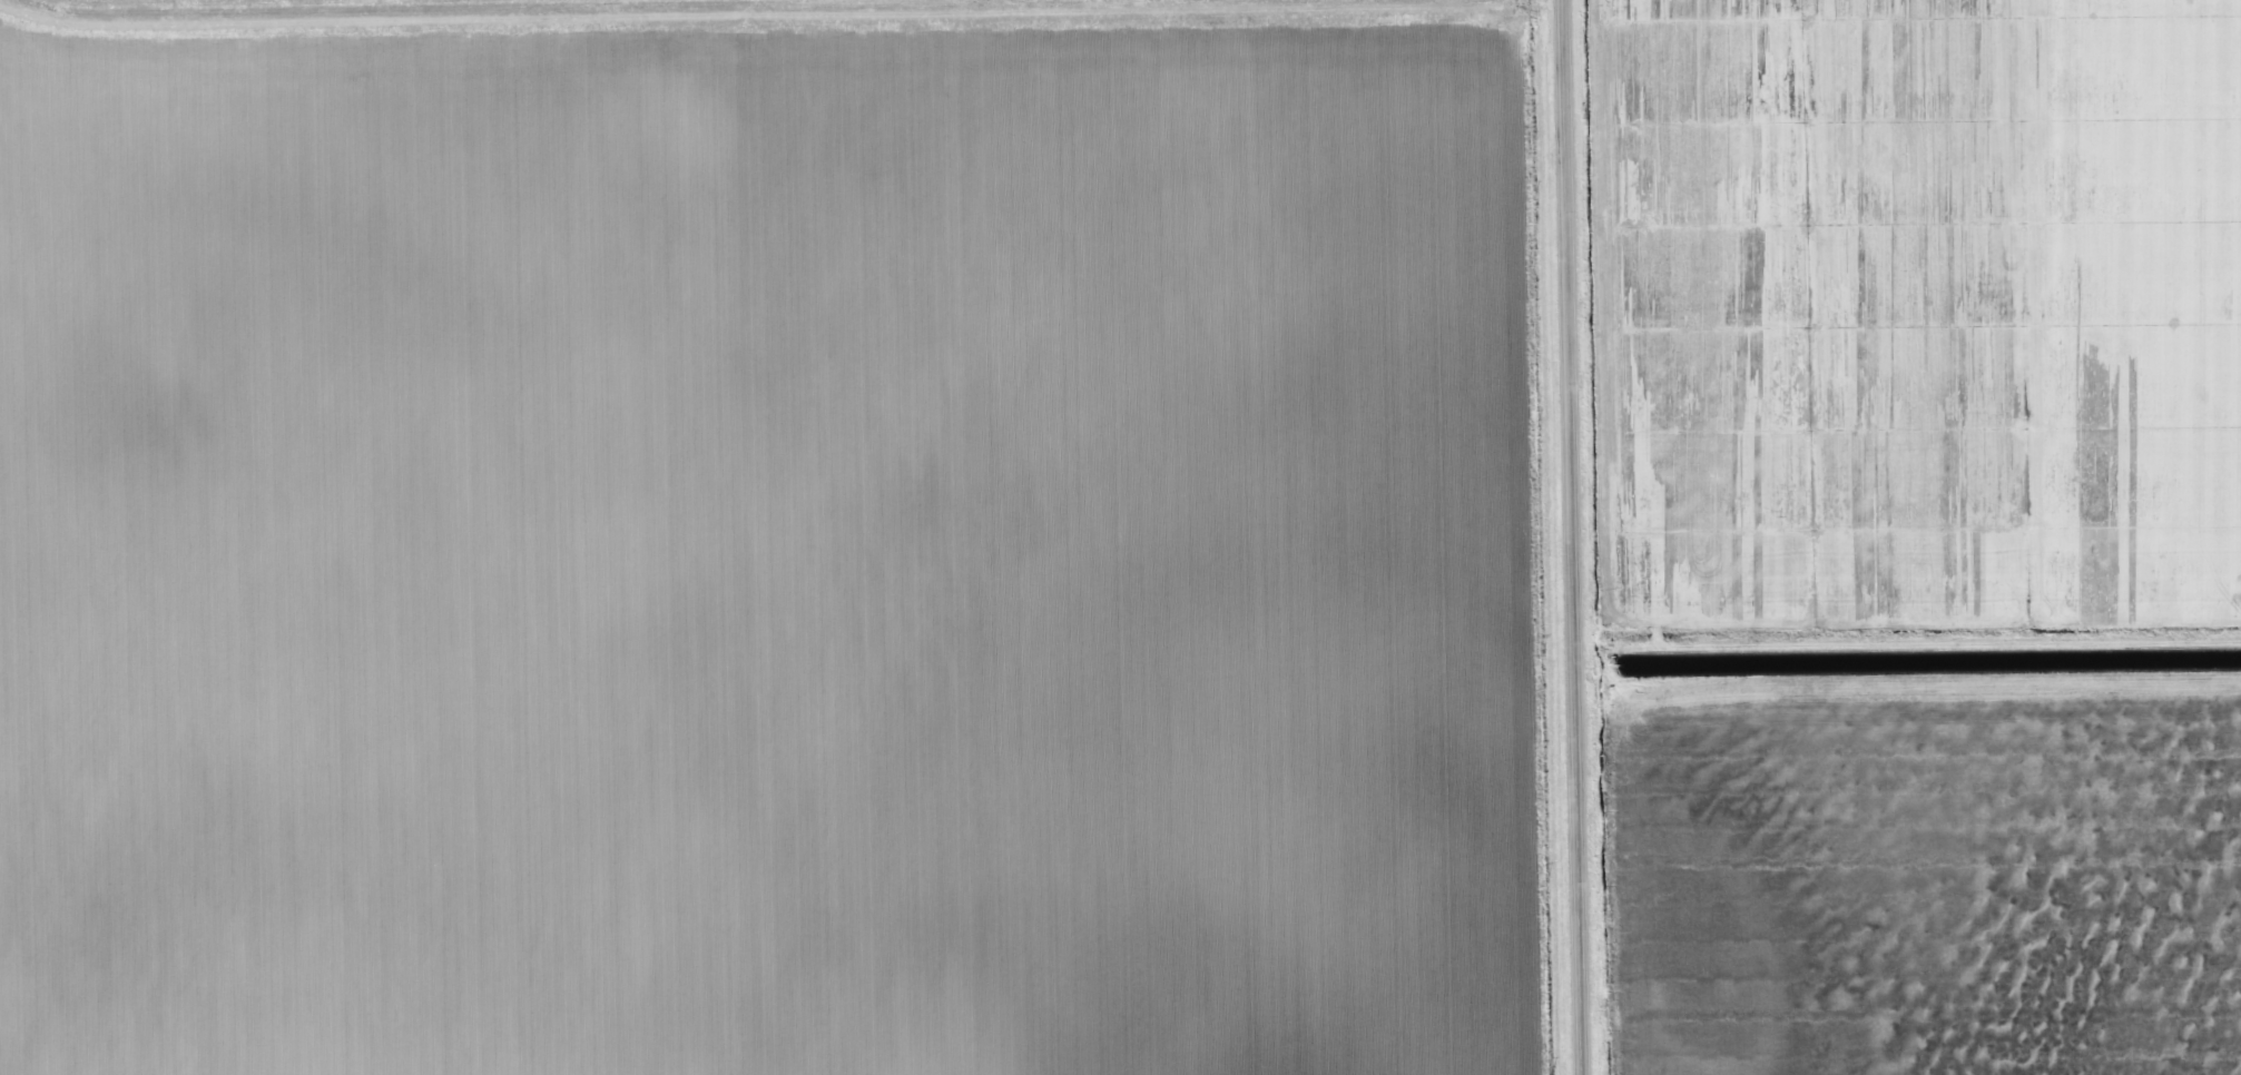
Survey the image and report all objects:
road: (780, 12)
road: (1573, 536)

